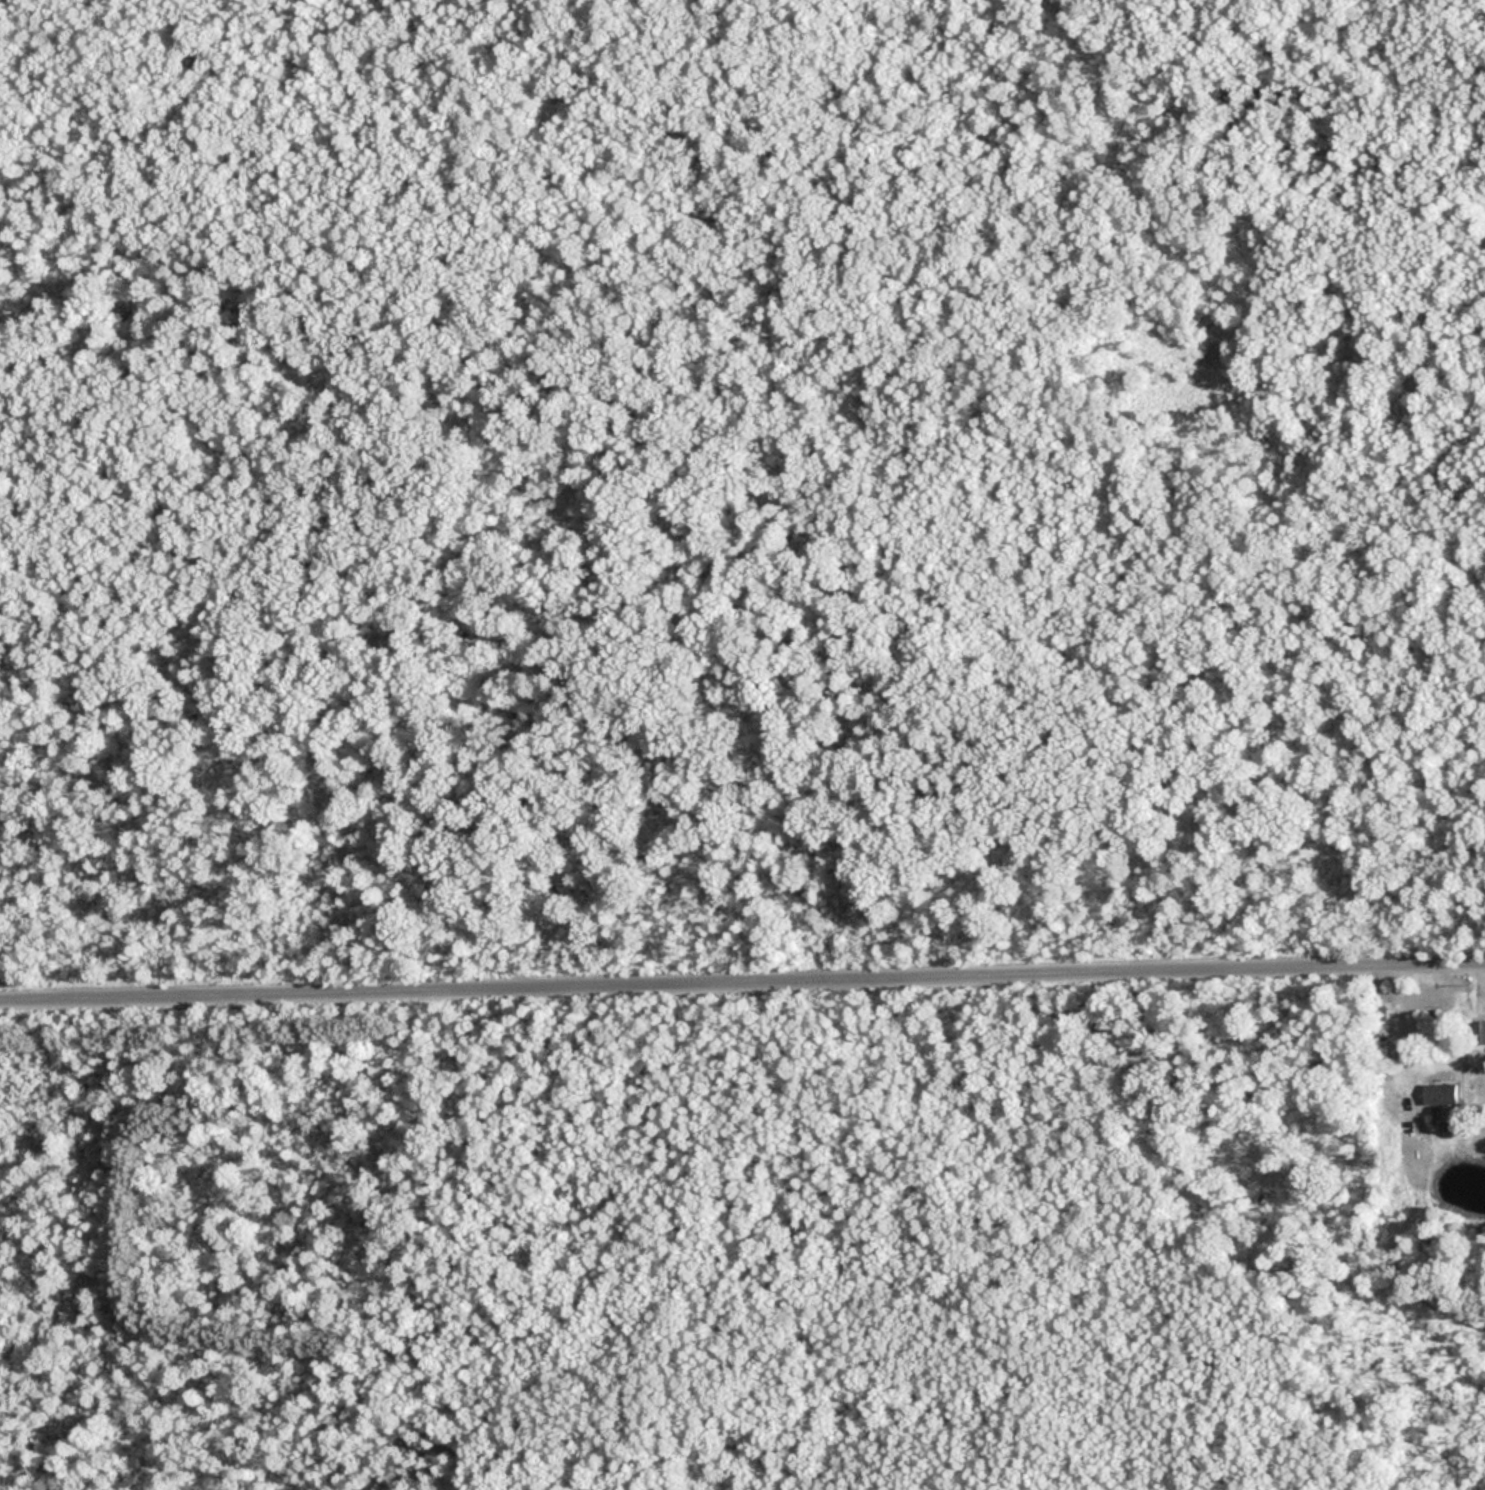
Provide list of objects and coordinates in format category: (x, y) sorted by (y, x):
park: (722, 731)
road: (742, 985)
building: (1440, 1094)

